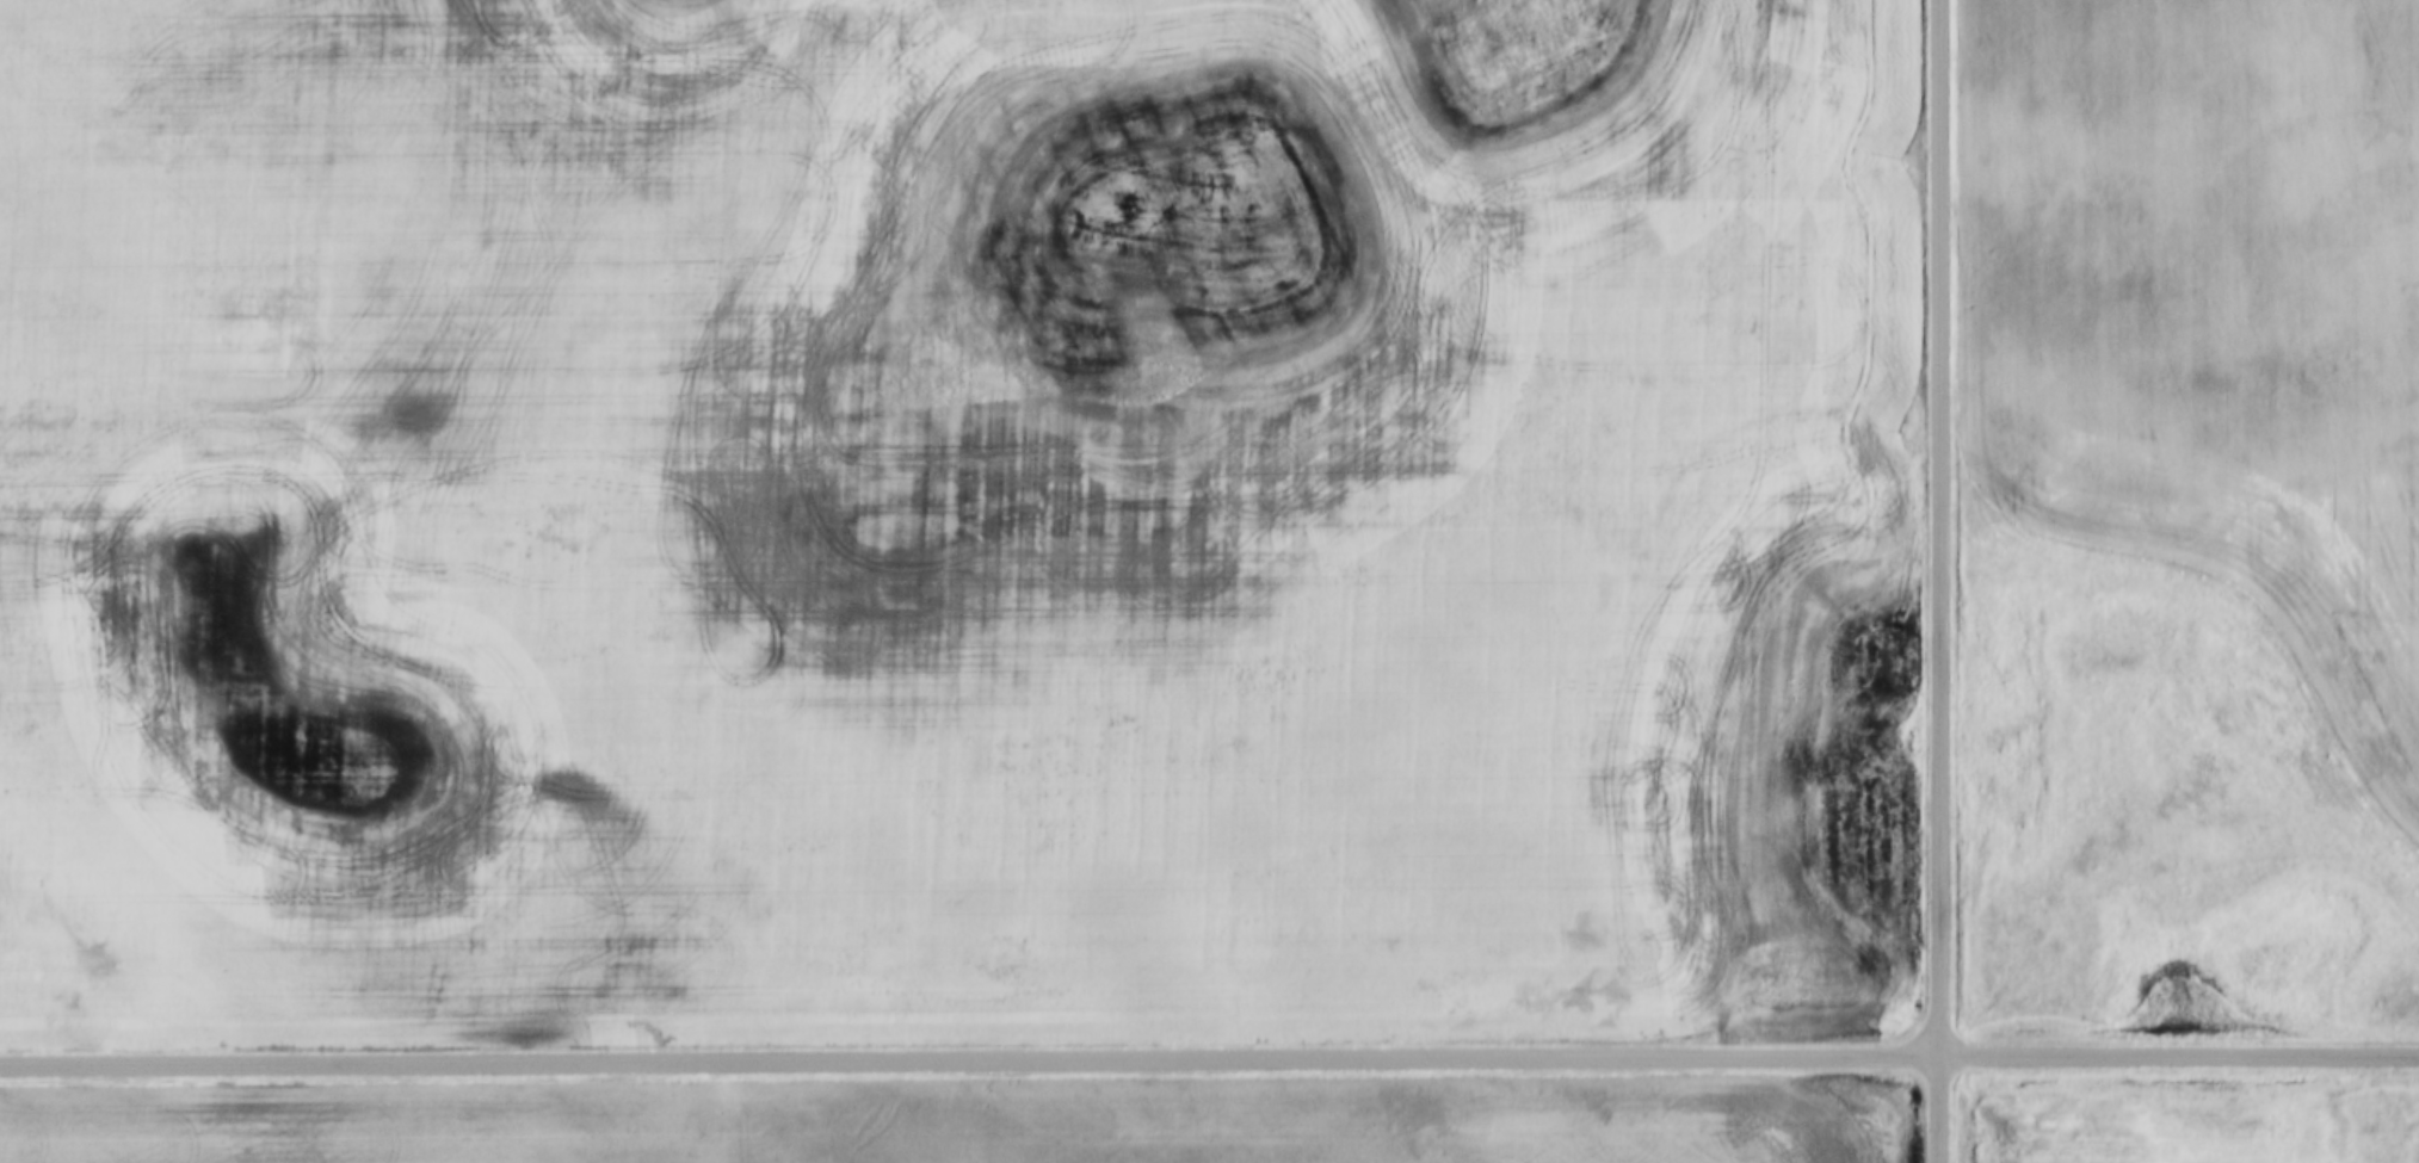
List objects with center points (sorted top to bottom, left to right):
road: (1942, 581)
road: (1209, 1057)

